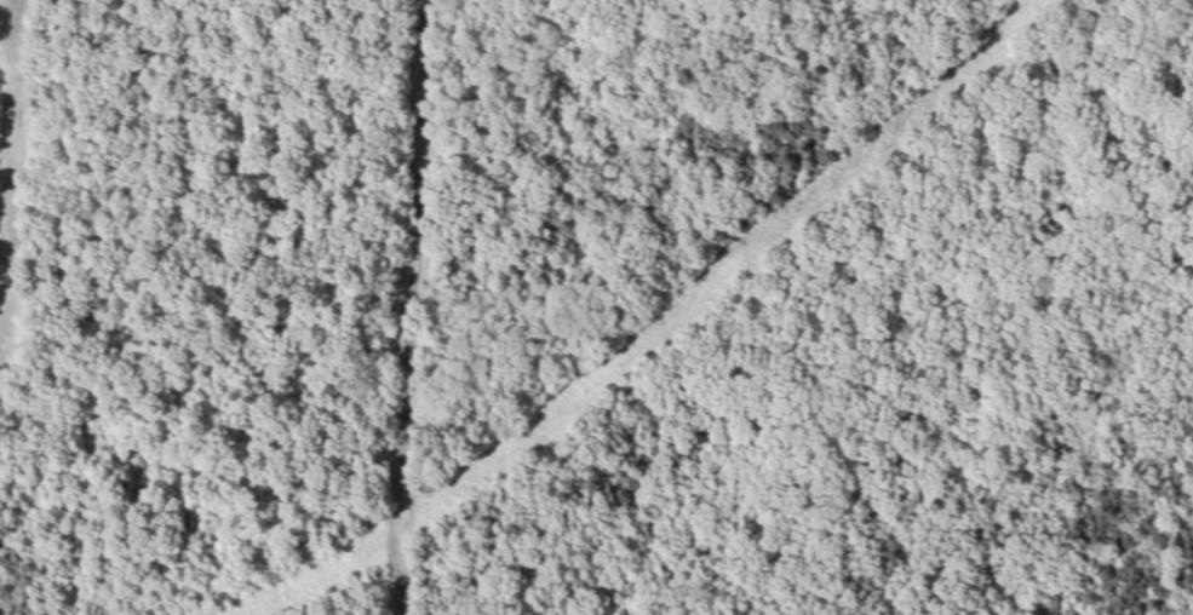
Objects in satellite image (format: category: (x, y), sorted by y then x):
road: (403, 307)

